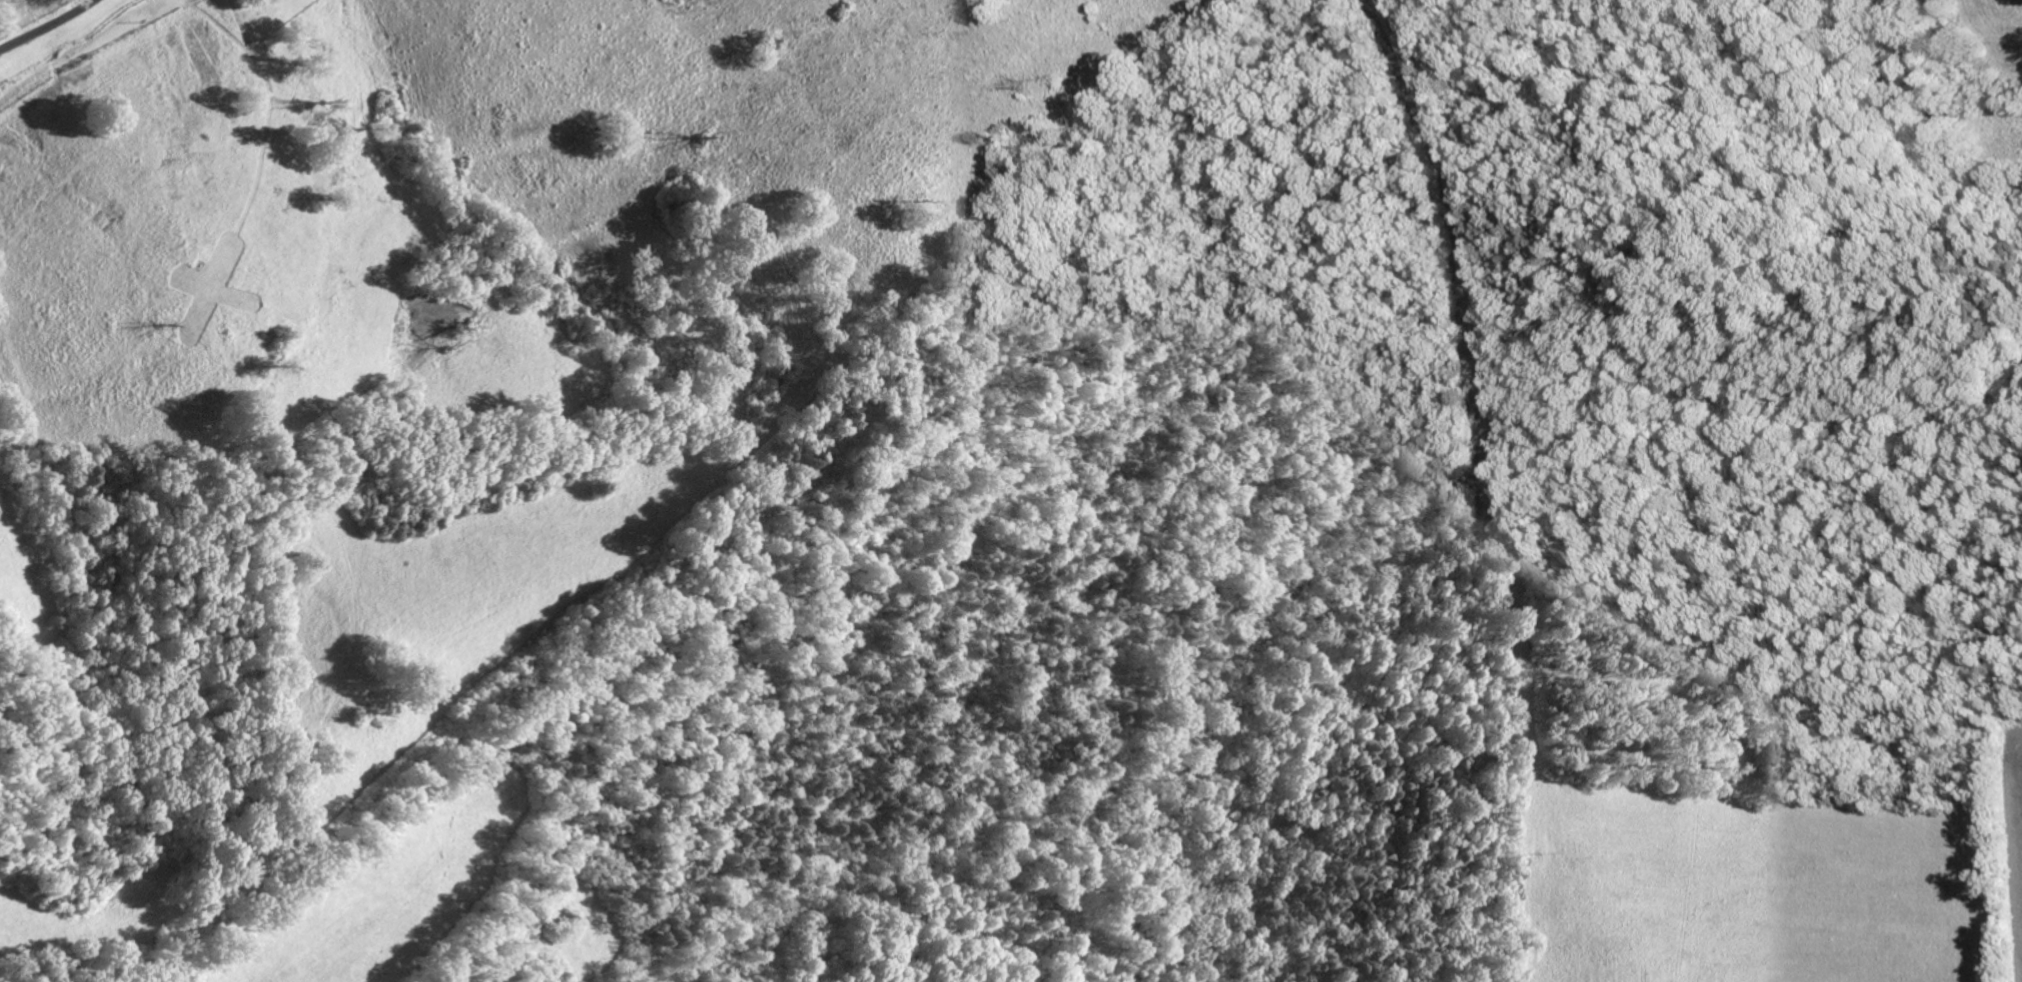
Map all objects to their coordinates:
road: (47, 25)

